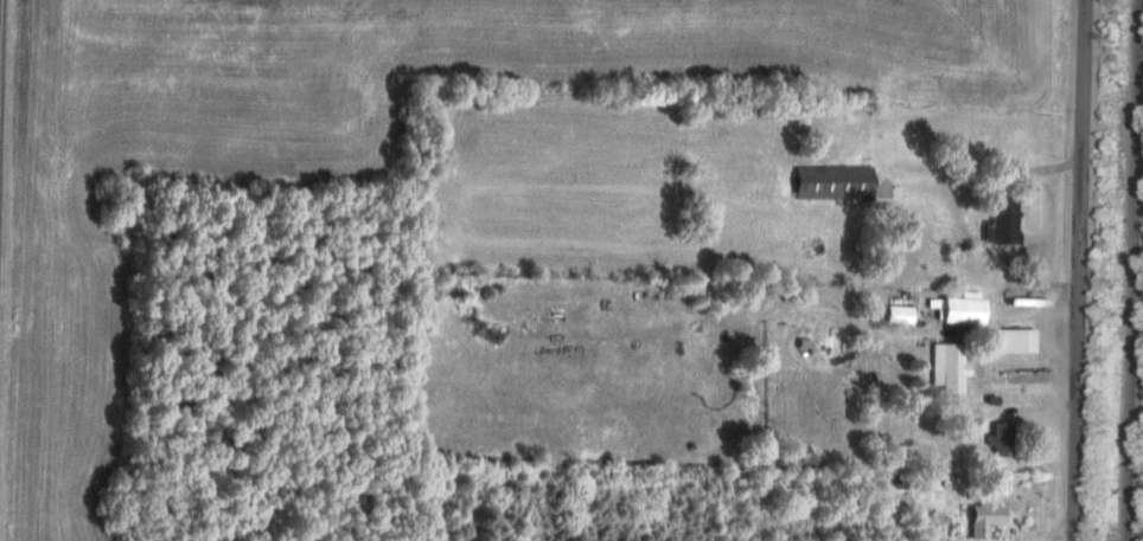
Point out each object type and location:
building: (830, 183)
building: (1001, 223)
road: (1078, 270)
railway: (1131, 270)
road: (1023, 308)
building: (958, 310)
building: (1013, 342)
building: (946, 368)
building: (998, 442)
building: (892, 482)
building: (983, 516)

